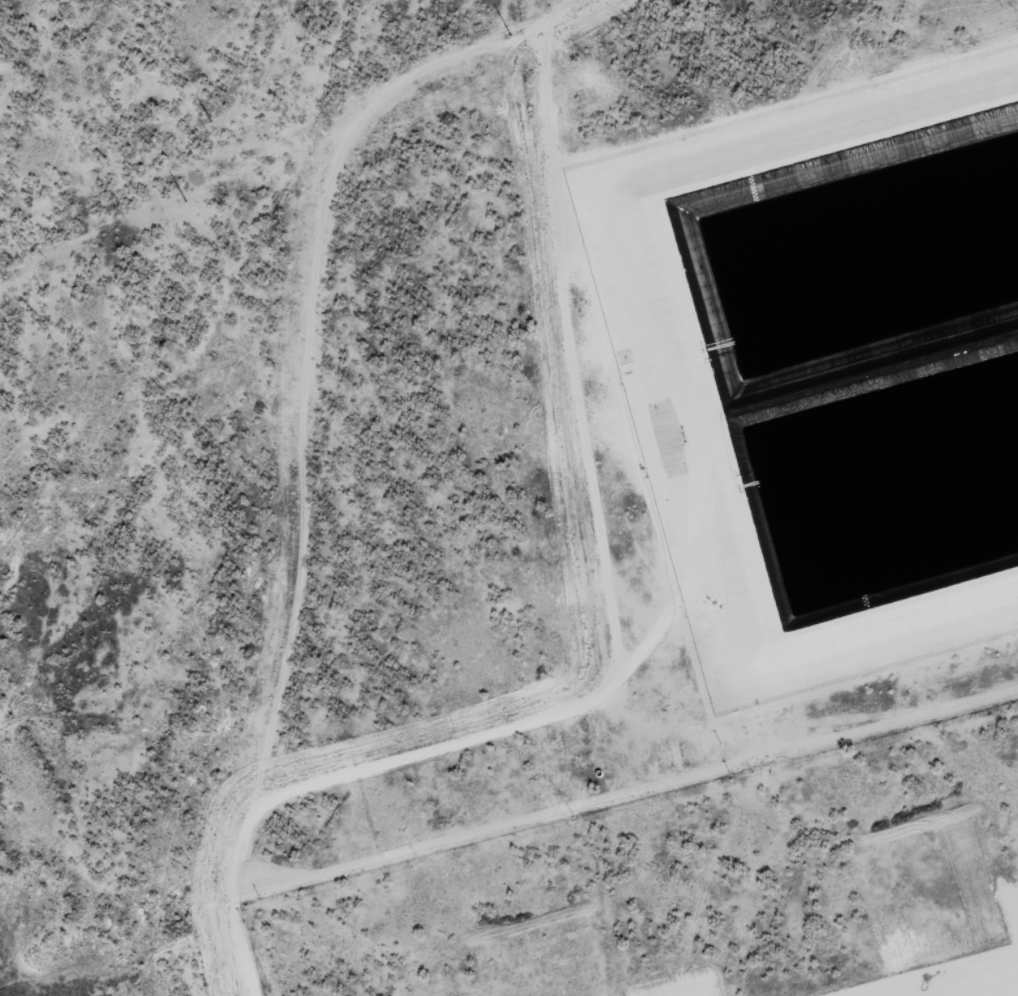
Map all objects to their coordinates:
power tower: (510, 36)
power tower: (209, 116)
power tower: (186, 201)

